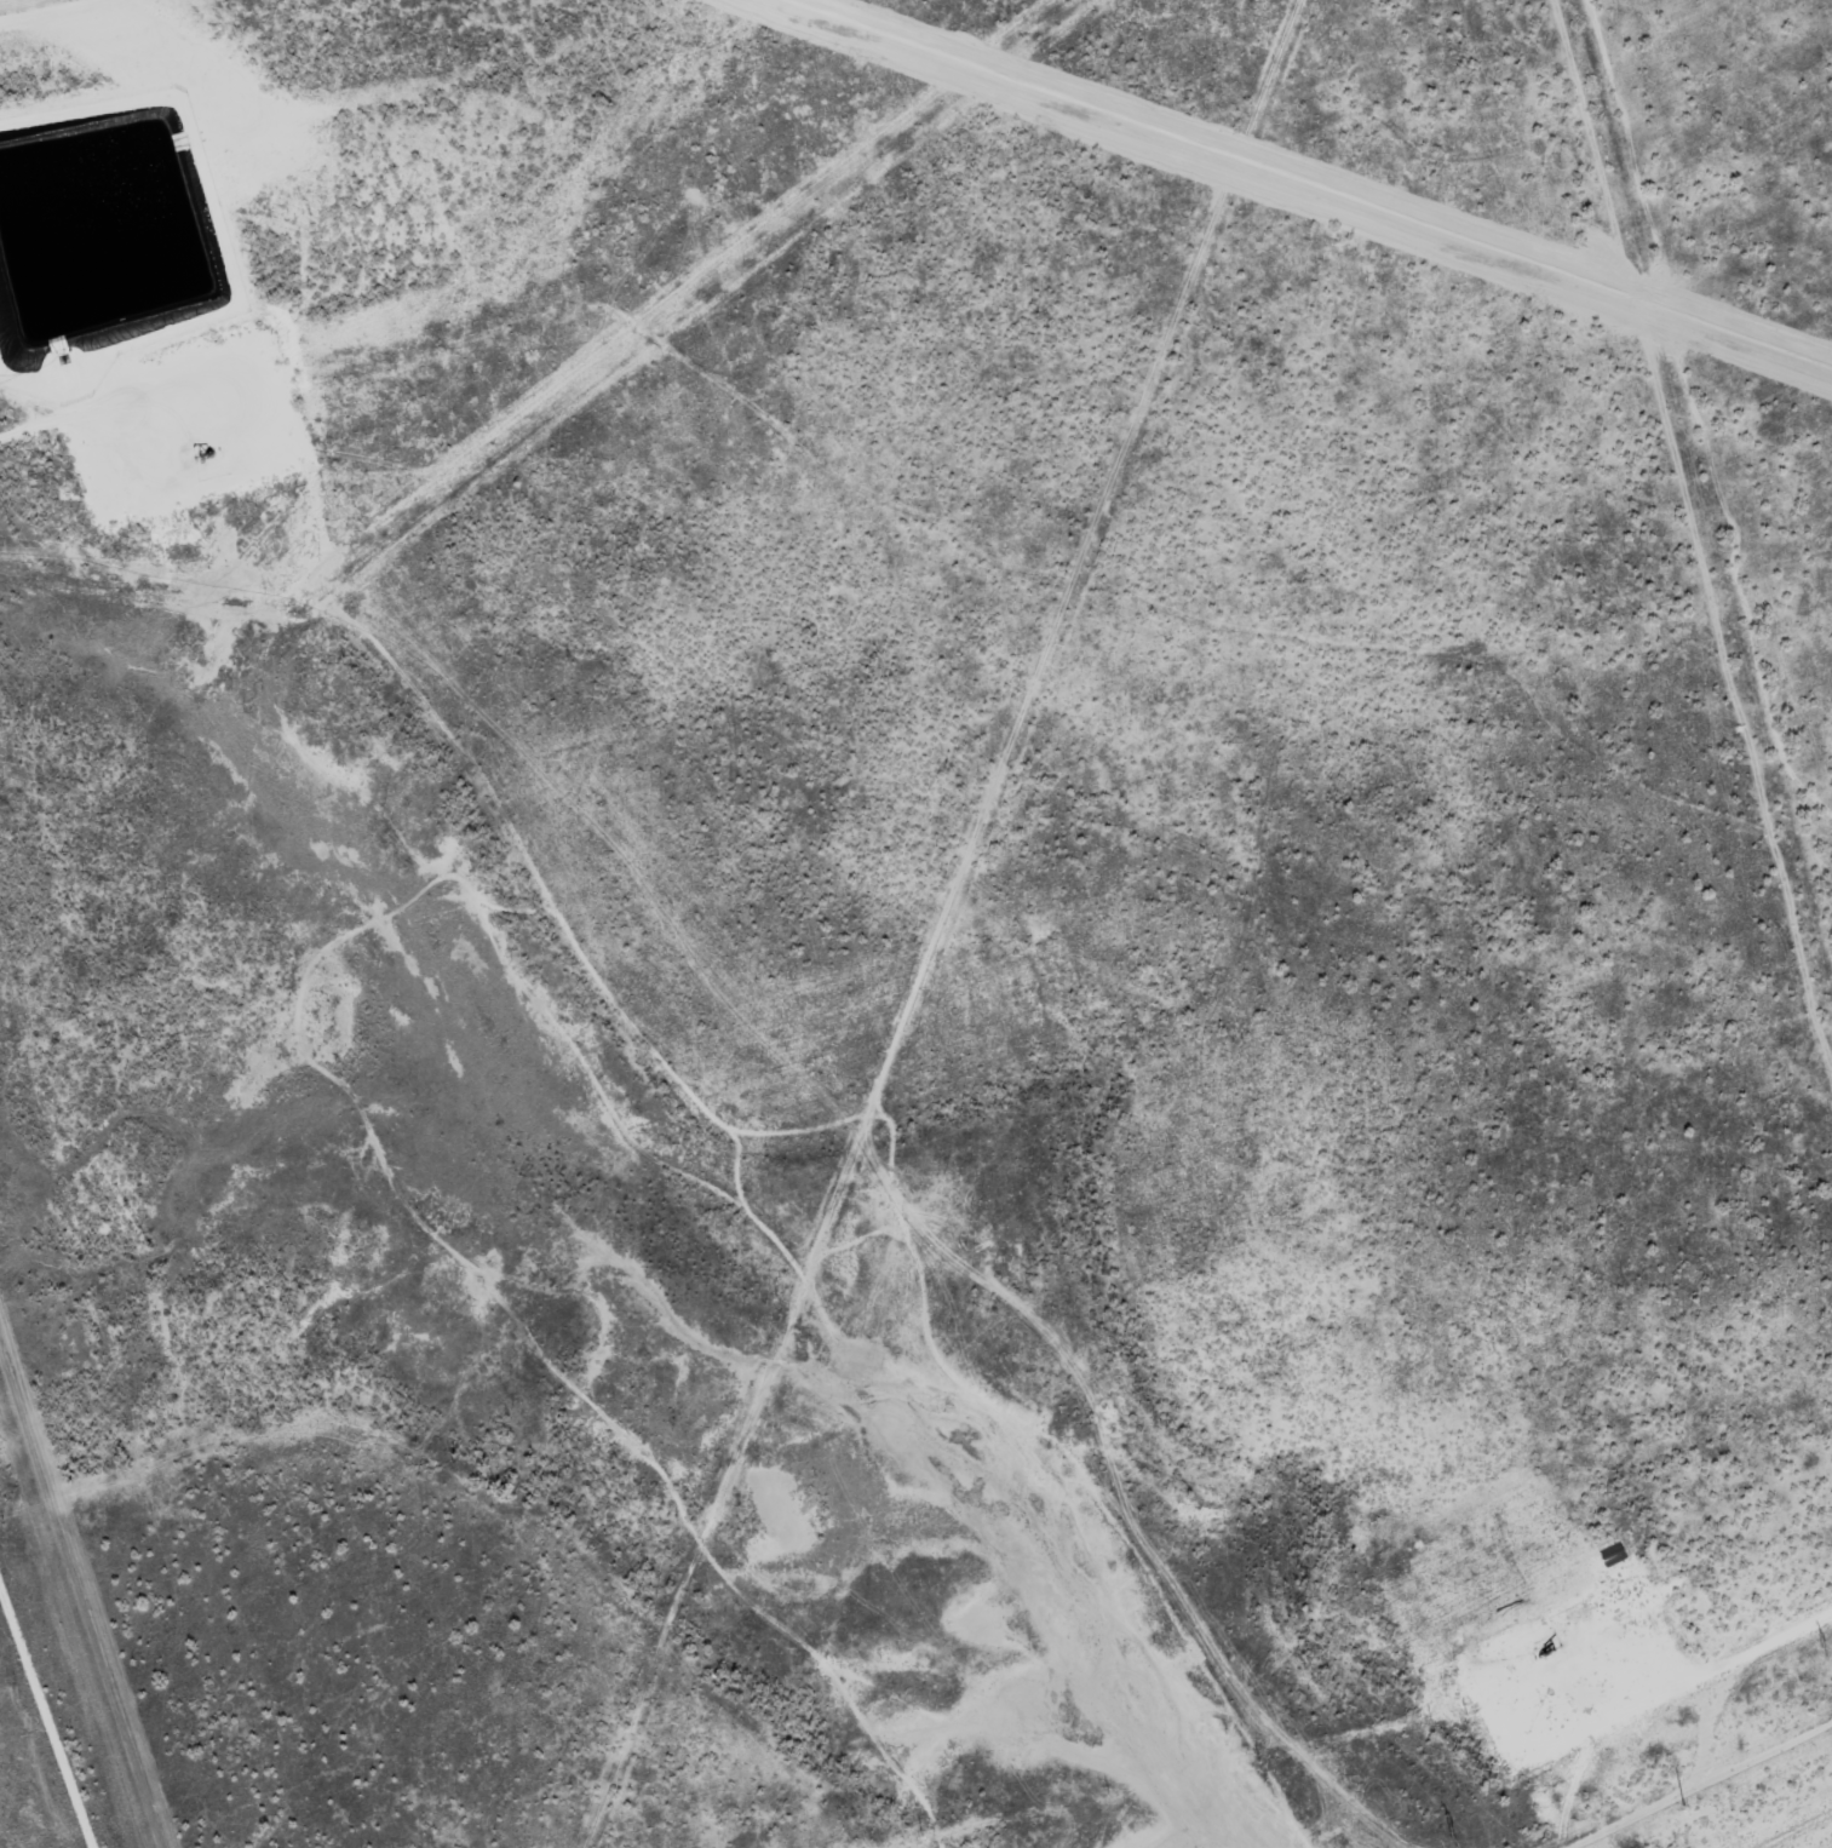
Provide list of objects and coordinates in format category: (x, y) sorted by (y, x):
power tower: (1825, 1648)
power tower: (1685, 1803)
power tower: (1455, 1840)

